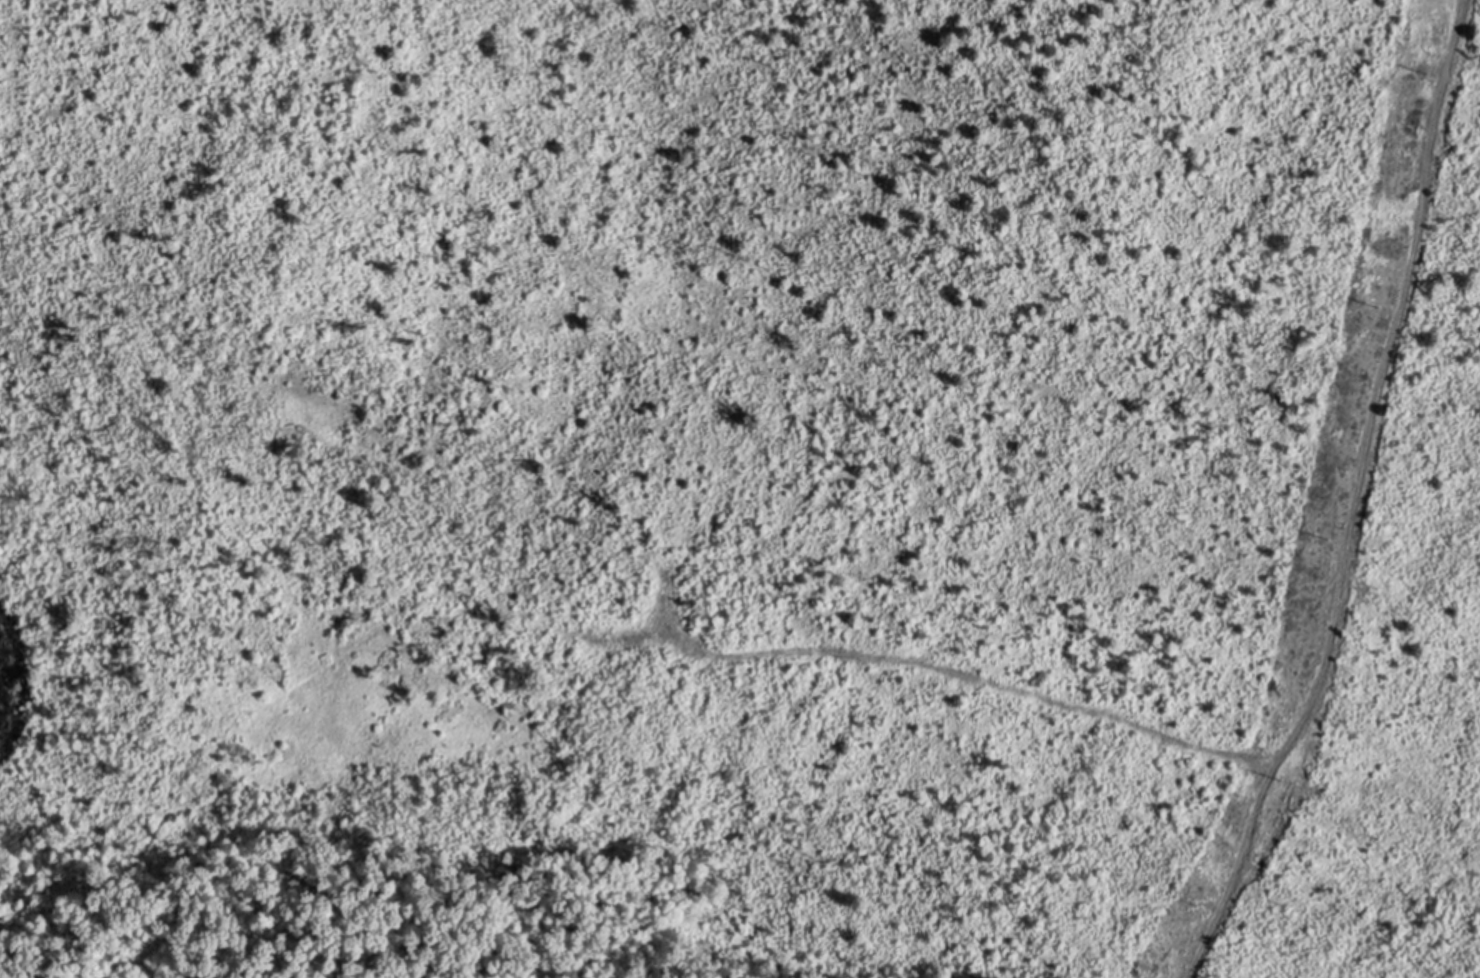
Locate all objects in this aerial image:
power tower: (1432, 73)
power tower: (1381, 307)
power tower: (1334, 538)
power tower: (1283, 783)

